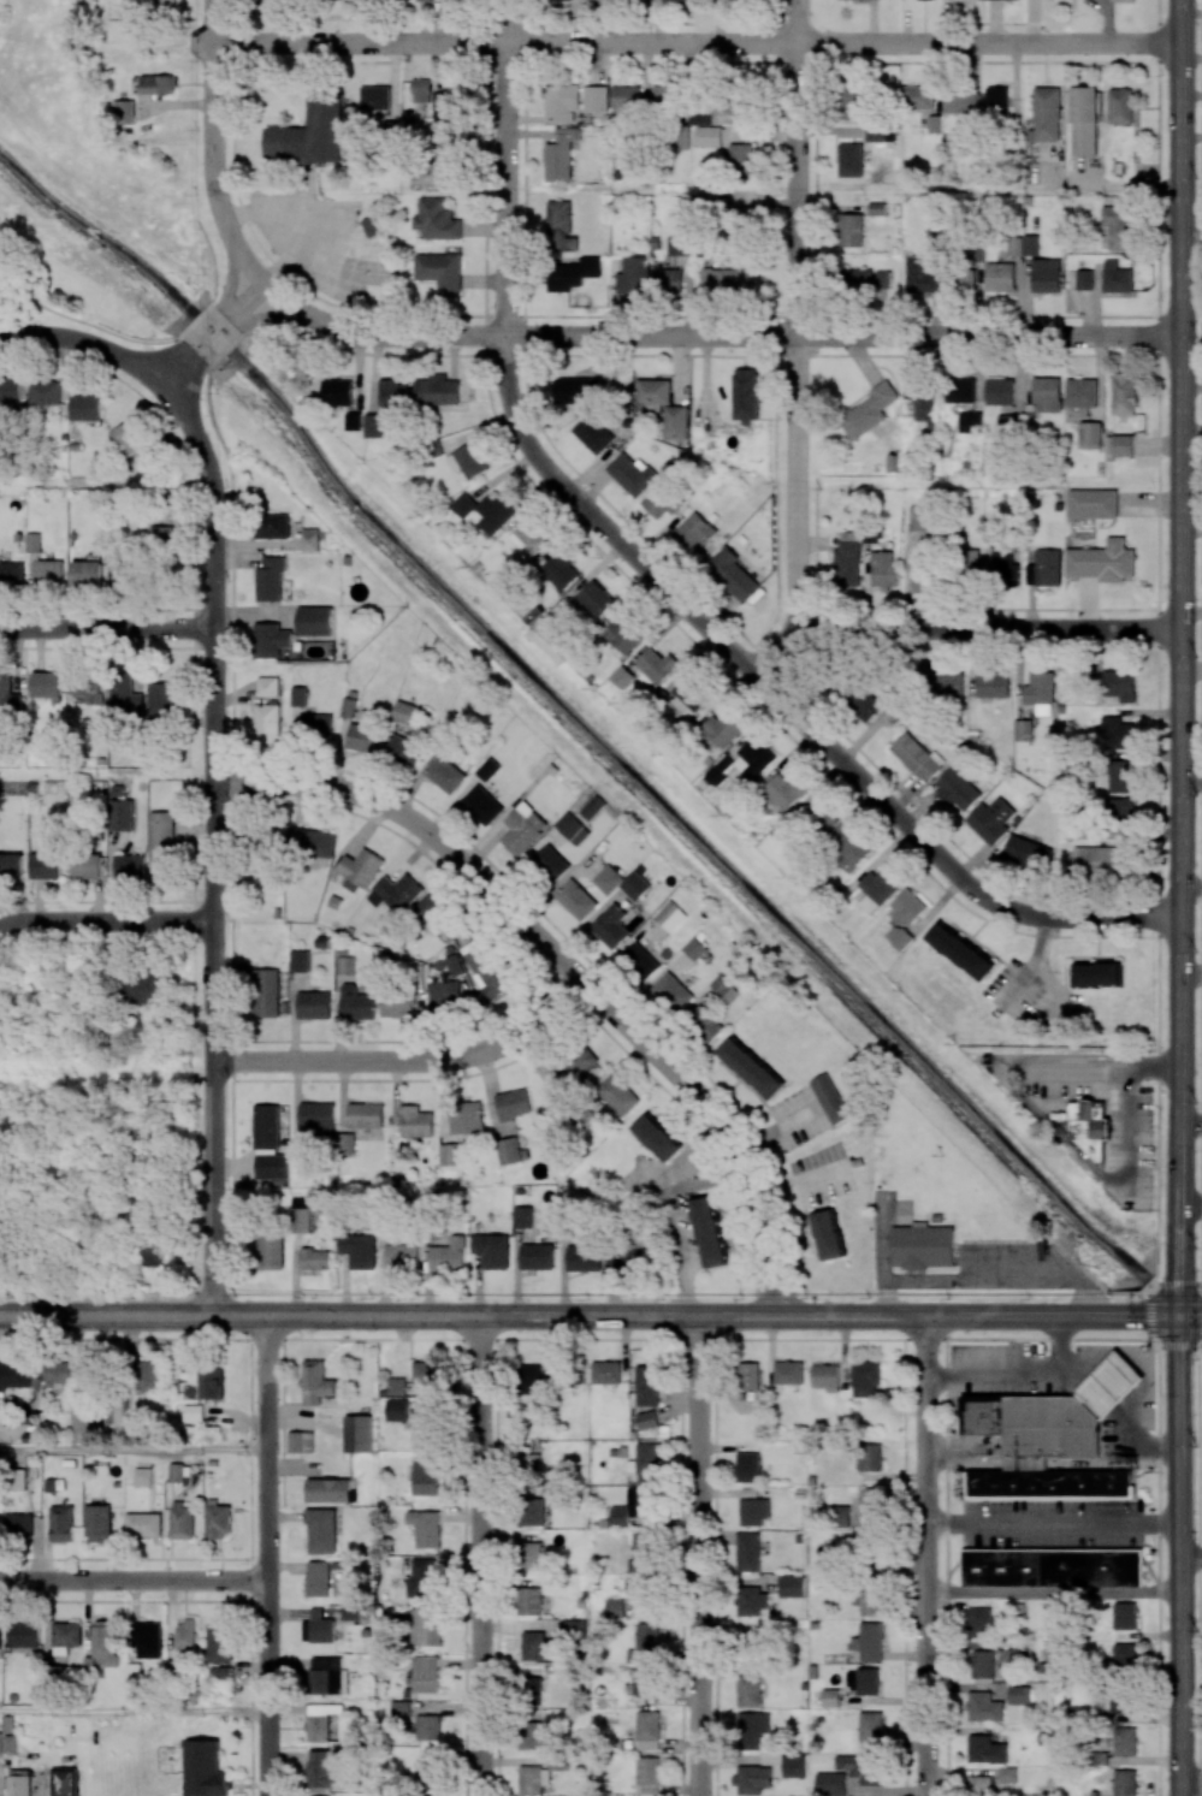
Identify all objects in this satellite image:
building: (373, 0)
building: (425, 0)
building: (686, 0)
building: (967, 0)
building: (1124, 0)
building: (166, 1)
road: (697, 45)
building: (156, 85)
building: (421, 90)
building: (667, 95)
building: (375, 97)
building: (627, 97)
building: (918, 97)
building: (596, 99)
building: (997, 101)
building: (562, 102)
building: (852, 102)
building: (961, 102)
building: (445, 106)
building: (1120, 106)
building: (123, 111)
building: (739, 111)
building: (1047, 113)
building: (701, 118)
building: (1084, 120)
building: (875, 134)
building: (310, 135)
building: (709, 136)
road: (212, 146)
building: (561, 154)
building: (741, 159)
building: (439, 160)
building: (851, 160)
road: (507, 167)
road: (990, 189)
building: (436, 219)
building: (371, 226)
building: (559, 226)
building: (740, 226)
building: (1115, 227)
building: (849, 230)
road: (1192, 237)
building: (679, 244)
building: (1030, 244)
building: (1014, 245)
park: (81, 253)
building: (439, 269)
building: (579, 271)
building: (1046, 274)
building: (633, 275)
building: (920, 275)
building: (1000, 277)
building: (1117, 277)
building: (668, 279)
building: (868, 279)
building: (1084, 279)
building: (728, 280)
road: (245, 298)
road: (208, 308)
road: (197, 318)
road: (95, 327)
road: (212, 334)
road: (713, 334)
road: (84, 340)
road: (799, 346)
road: (177, 367)
building: (8, 390)
building: (437, 390)
building: (576, 390)
building: (960, 390)
building: (338, 391)
building: (1000, 391)
building: (45, 392)
building: (653, 393)
building: (1082, 393)
building: (1125, 393)
building: (393, 395)
building: (746, 395)
building: (1047, 395)
building: (924, 401)
building: (87, 407)
building: (869, 410)
building: (354, 421)
building: (1008, 421)
building: (675, 422)
building: (970, 422)
building: (375, 425)
building: (593, 432)
building: (1090, 434)
building: (129, 438)
building: (1119, 444)
building: (468, 460)
building: (630, 473)
road: (105, 481)
building: (661, 500)
building: (1093, 503)
building: (463, 504)
building: (496, 511)
building: (920, 517)
building: (273, 526)
building: (694, 530)
building: (161, 533)
building: (529, 538)
building: (310, 539)
building: (32, 541)
building: (1102, 561)
building: (846, 562)
building: (971, 562)
building: (1003, 567)
building: (1044, 568)
building: (559, 569)
building: (883, 569)
building: (48, 570)
building: (122, 570)
building: (920, 571)
building: (11, 573)
building: (87, 574)
building: (732, 574)
building: (271, 576)
building: (593, 597)
building: (314, 621)
road: (105, 627)
road: (990, 629)
building: (622, 630)
building: (270, 639)
road: (1183, 657)
building: (656, 666)
building: (622, 676)
building: (47, 684)
building: (946, 684)
building: (993, 684)
building: (1119, 684)
building: (90, 688)
building: (686, 692)
building: (1040, 692)
building: (8, 694)
building: (297, 695)
building: (125, 697)
building: (161, 700)
building: (865, 701)
road: (784, 704)
traffic signals: (1183, 704)
building: (348, 706)
building: (270, 709)
building: (404, 712)
river: (572, 717)
building: (314, 725)
building: (722, 727)
building: (1023, 730)
building: (1117, 731)
building: (361, 739)
building: (403, 751)
building: (916, 757)
building: (754, 758)
building: (487, 769)
building: (718, 769)
road: (106, 772)
building: (444, 773)
building: (1121, 776)
road: (1192, 777)
building: (957, 788)
building: (784, 790)
building: (481, 805)
building: (593, 807)
building: (1120, 810)
building: (122, 814)
building: (821, 816)
building: (991, 819)
building: (522, 828)
building: (572, 828)
building: (161, 842)
road: (213, 842)
building: (312, 842)
building: (849, 849)
building: (267, 852)
building: (1028, 853)
building: (1095, 859)
building: (550, 864)
building: (11, 865)
building: (46, 865)
building: (87, 866)
building: (129, 866)
building: (360, 869)
building: (608, 878)
building: (635, 885)
building: (881, 885)
road: (1192, 889)
building: (395, 893)
building: (575, 899)
building: (869, 903)
building: (438, 915)
building: (671, 915)
building: (904, 918)
road: (106, 921)
building: (610, 925)
building: (695, 948)
building: (960, 950)
building: (300, 961)
building: (639, 961)
building: (345, 965)
building: (454, 965)
road: (569, 967)
building: (487, 971)
building: (1099, 974)
road: (1192, 977)
building: (142, 988)
building: (726, 988)
building: (267, 992)
building: (673, 992)
building: (444, 997)
building: (356, 1002)
building: (314, 1004)
building: (398, 1004)
building: (705, 1023)
road: (410, 1061)
building: (572, 1066)
building: (750, 1066)
building: (618, 1093)
road: (1133, 1097)
building: (830, 1098)
building: (513, 1103)
building: (316, 1114)
building: (365, 1115)
building: (466, 1116)
building: (415, 1121)
road: (1191, 1124)
building: (266, 1126)
building: (1086, 1128)
building: (656, 1136)
building: (347, 1143)
building: (509, 1150)
building: (449, 1154)
road: (692, 1154)
building: (272, 1166)
road: (1191, 1201)
road: (674, 1214)
building: (300, 1215)
building: (523, 1216)
building: (709, 1231)
building: (829, 1234)
building: (923, 1246)
building: (359, 1250)
building: (492, 1250)
building: (271, 1251)
building: (155, 1253)
building: (449, 1255)
building: (628, 1255)
building: (402, 1256)
building: (537, 1256)
building: (584, 1257)
building: (315, 1258)
road: (603, 1293)
river: (1174, 1309)
traffic signals: (1180, 1315)
road: (1191, 1315)
traffic signals: (40, 1316)
road: (590, 1316)
road: (600, 1339)
road: (1066, 1353)
road: (996, 1369)
parking lot: (1001, 1369)
building: (425, 1371)
building: (606, 1371)
building: (788, 1371)
building: (13, 1375)
building: (148, 1375)
building: (748, 1375)
building: (825, 1376)
building: (865, 1377)
building: (532, 1379)
road: (1112, 1381)
building: (316, 1382)
building: (212, 1383)
building: (396, 1385)
building: (647, 1385)
building: (116, 1410)
building: (193, 1412)
gas station: (1065, 1415)
building: (408, 1417)
building: (646, 1419)
building: (359, 1433)
road: (1139, 1435)
building: (300, 1441)
road: (134, 1451)
building: (870, 1457)
building: (646, 1462)
building: (531, 1465)
building: (748, 1466)
building: (176, 1471)
building: (142, 1476)
building: (425, 1476)
building: (1050, 1484)
building: (327, 1490)
building: (869, 1501)
building: (754, 1510)
building: (533, 1511)
building: (218, 1519)
building: (182, 1521)
building: (61, 1523)
building: (97, 1523)
building: (18, 1524)
building: (143, 1524)
parking lot: (1052, 1524)
road: (1052, 1524)
building: (425, 1528)
building: (321, 1530)
building: (639, 1552)
building: (748, 1552)
road: (267, 1555)
road: (479, 1555)
building: (531, 1555)
road: (698, 1555)
road: (924, 1555)
road: (1180, 1555)
road: (1200, 1559)
road: (1191, 1560)
road: (954, 1563)
road: (1159, 1565)
building: (1053, 1566)
road: (715, 1567)
road: (905, 1567)
road: (946, 1567)
road: (1150, 1567)
building: (421, 1577)
building: (316, 1578)
road: (134, 1579)
building: (791, 1585)
building: (644, 1591)
road: (1052, 1591)
building: (529, 1601)
building: (751, 1601)
building: (870, 1601)
building: (615, 1607)
building: (1014, 1610)
building: (350, 1612)
building: (1124, 1616)
building: (979, 1622)
building: (319, 1625)
building: (425, 1626)
building: (23, 1635)
building: (184, 1635)
building: (65, 1636)
building: (647, 1636)
building: (147, 1638)
building: (219, 1641)
building: (869, 1641)
building: (103, 1642)
building: (750, 1643)
building: (0, 1644)
building: (534, 1646)
building: (1023, 1650)
building: (1125, 1658)
building: (983, 1664)
building: (132, 1672)
building: (218, 1672)
building: (425, 1673)
building: (326, 1675)
building: (644, 1681)
building: (863, 1681)
building: (531, 1690)
building: (748, 1690)
building: (1019, 1695)
building: (830, 1697)
building: (1121, 1700)
building: (983, 1707)
road: (134, 1711)
building: (1080, 1714)
building: (321, 1719)
building: (427, 1726)
building: (870, 1726)
building: (752, 1727)
building: (647, 1730)
building: (533, 1736)
building: (1125, 1741)
building: (0, 1743)
building: (10, 1744)
building: (987, 1749)
building: (1099, 1758)
building: (794, 1765)
building: (203, 1768)
building: (863, 1768)
building: (320, 1770)
road: (1201, 1770)
building: (428, 1772)
building: (647, 1774)
building: (1007, 1774)
building: (533, 1779)
building: (752, 1779)
building: (65, 1782)
building: (1124, 1782)
road: (1191, 1782)
road: (1200, 1783)
building: (830, 1784)
building: (19, 1785)
building: (979, 1785)

